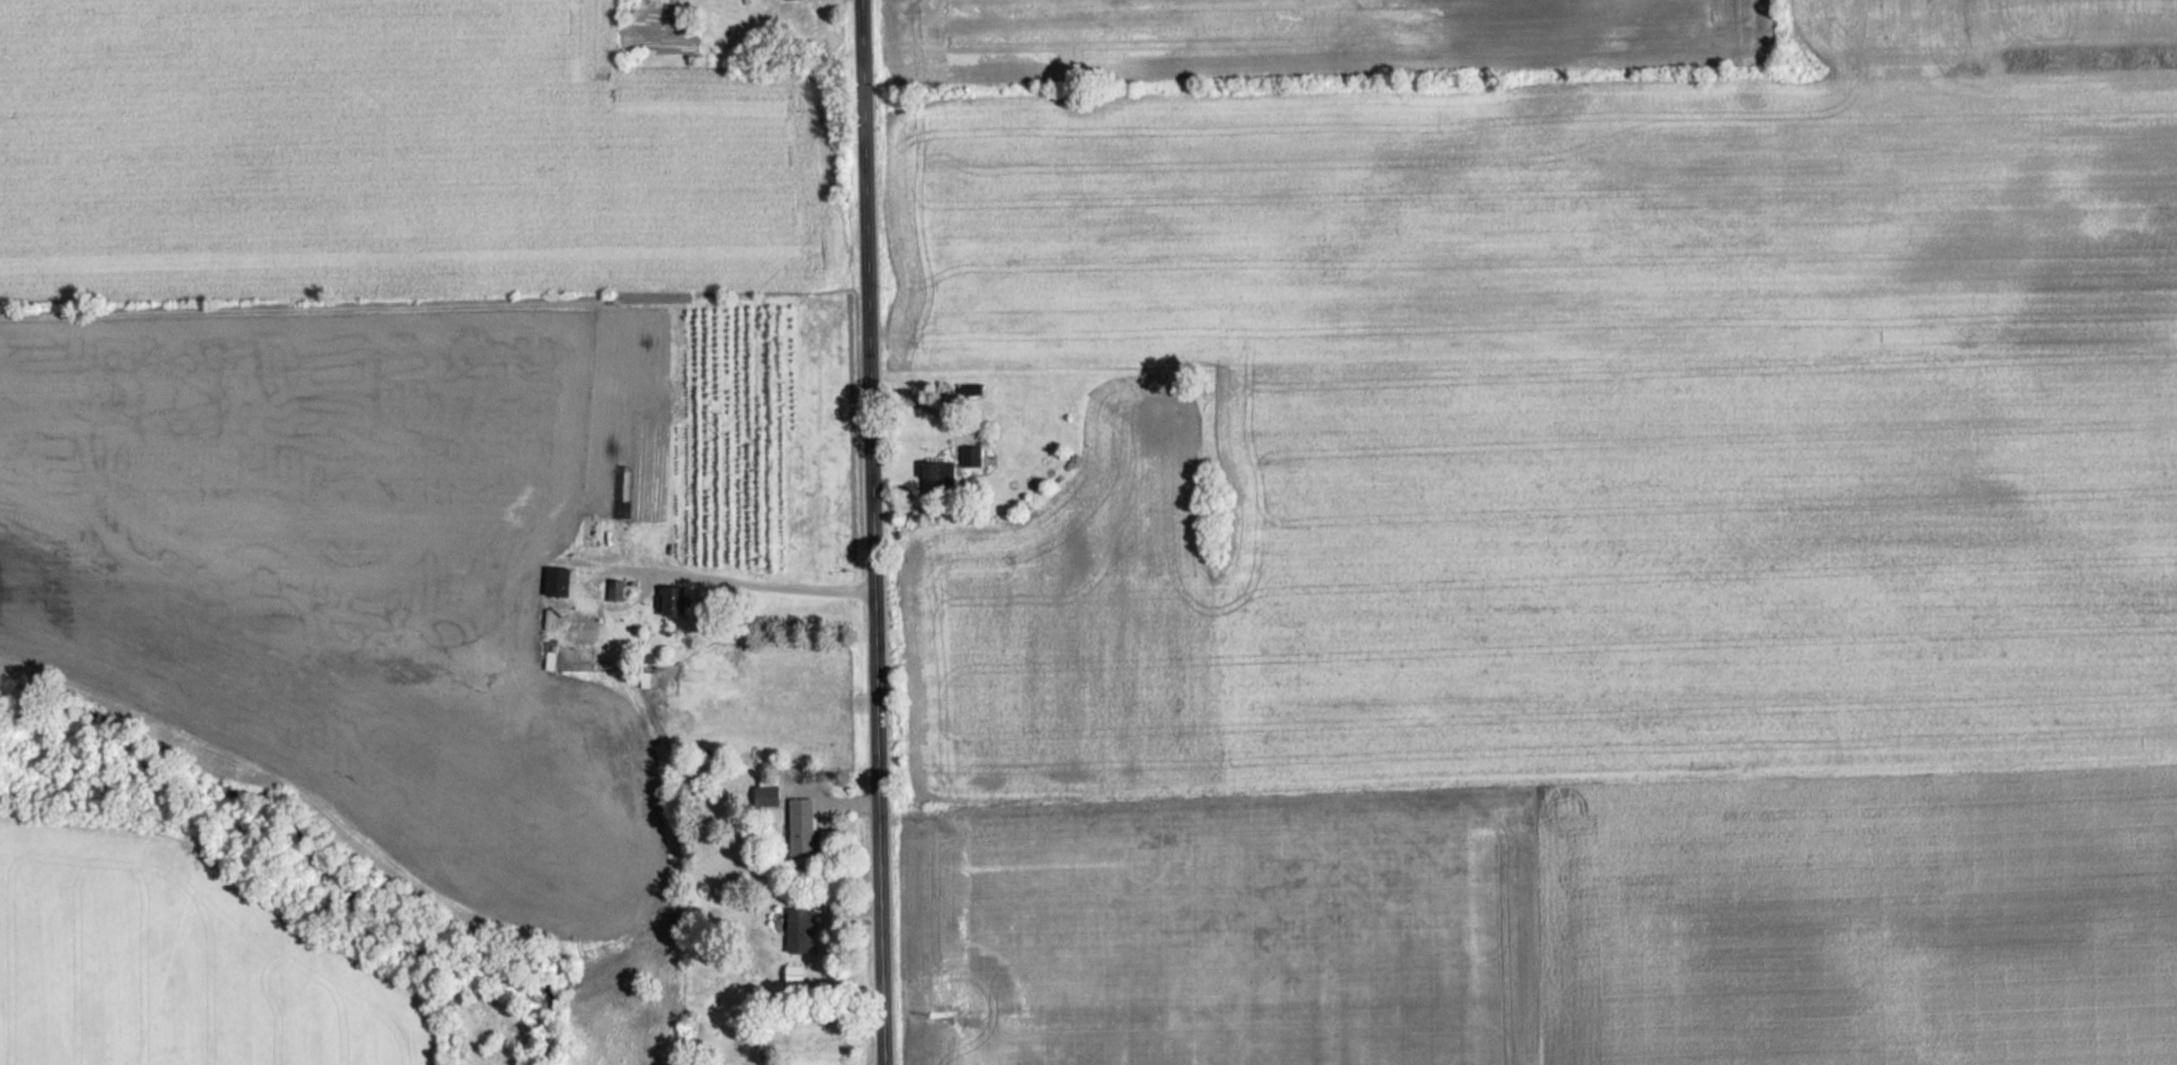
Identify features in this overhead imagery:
building: (970, 456)
road: (874, 531)
building: (623, 546)
road: (762, 582)
building: (555, 589)
building: (670, 600)
building: (572, 635)
building: (800, 828)
building: (798, 931)

